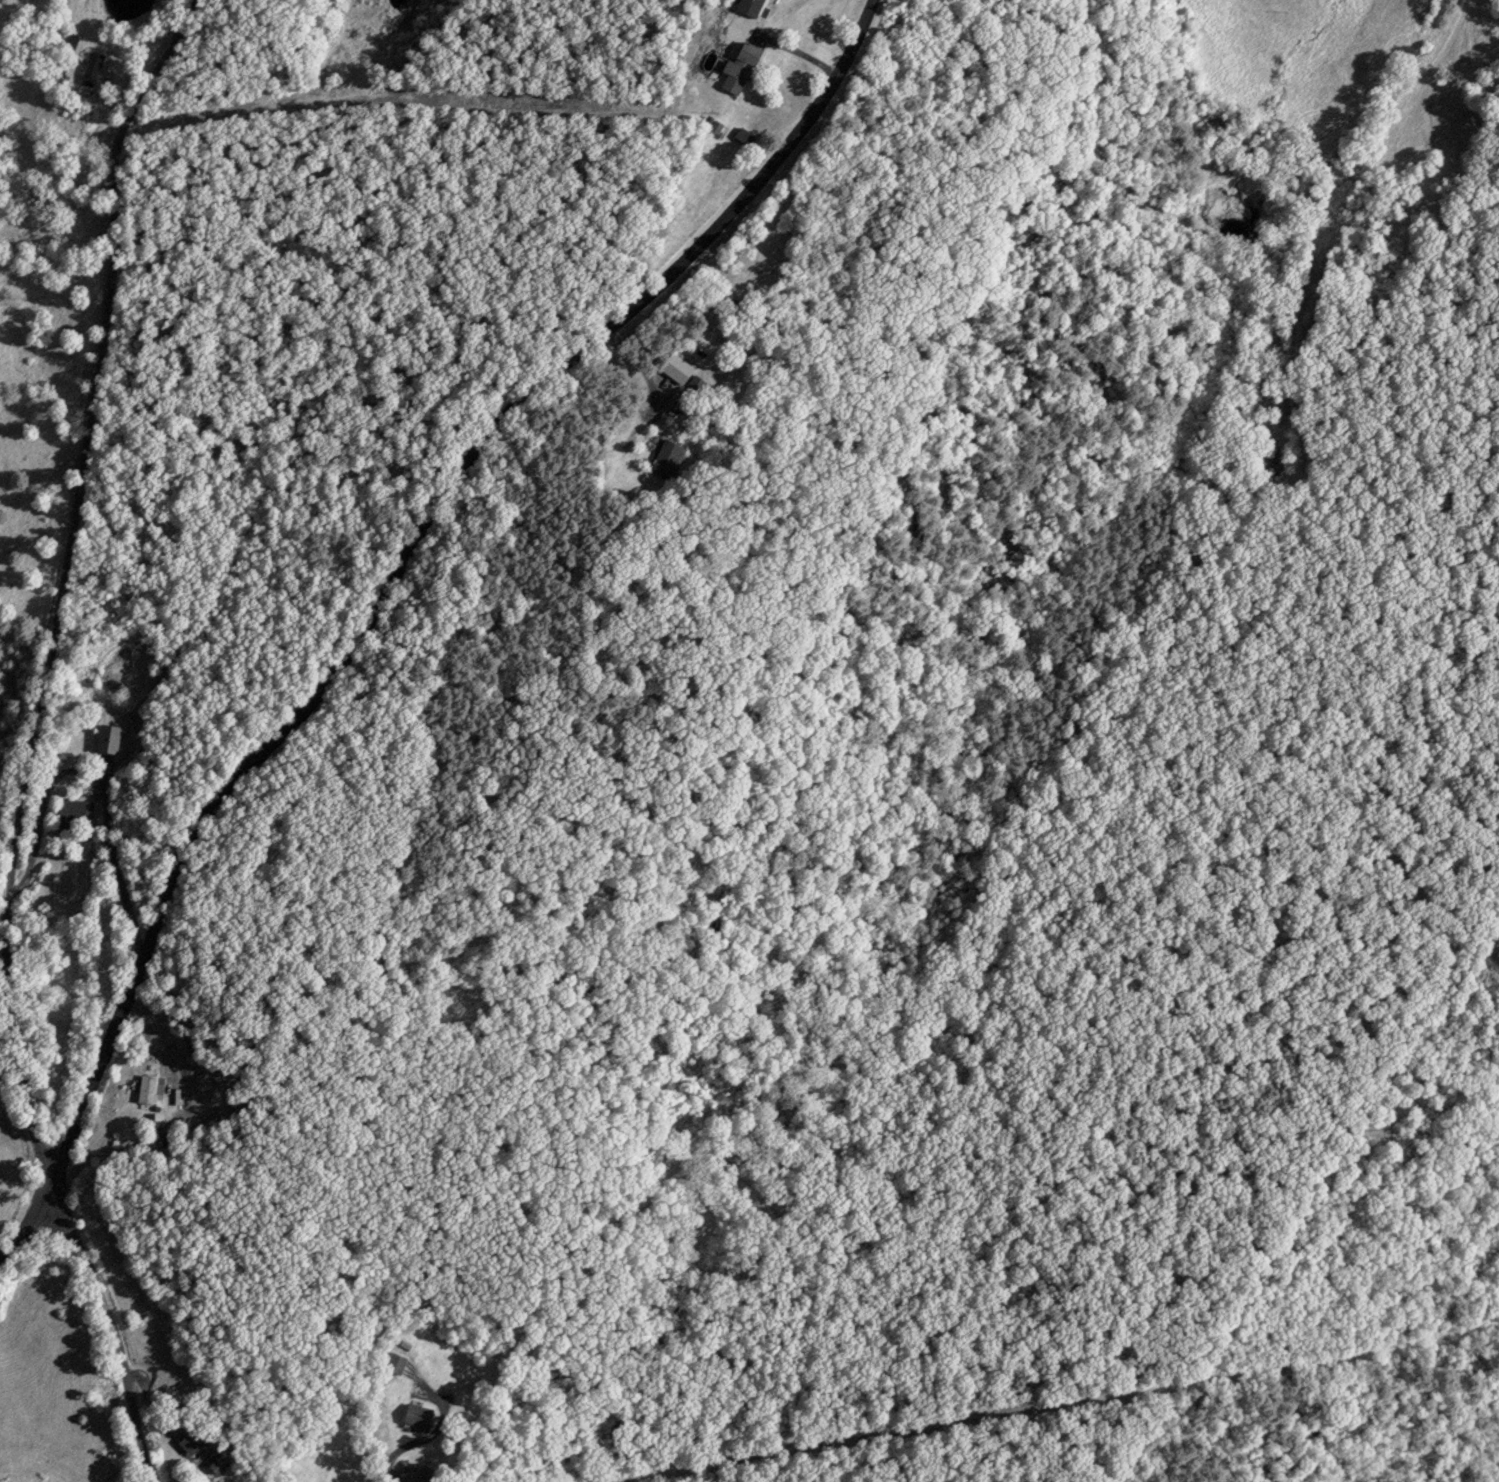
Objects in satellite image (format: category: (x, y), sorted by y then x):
building: (752, 7)
building: (70, 47)
building: (745, 68)
building: (93, 69)
building: (679, 369)
building: (667, 457)
road: (402, 558)
road: (57, 585)
building: (109, 738)
building: (76, 811)
building: (149, 1088)
road: (25, 1220)
road: (112, 1330)
building: (397, 1363)
building: (421, 1415)
building: (193, 1430)
building: (221, 1464)
building: (423, 1473)

